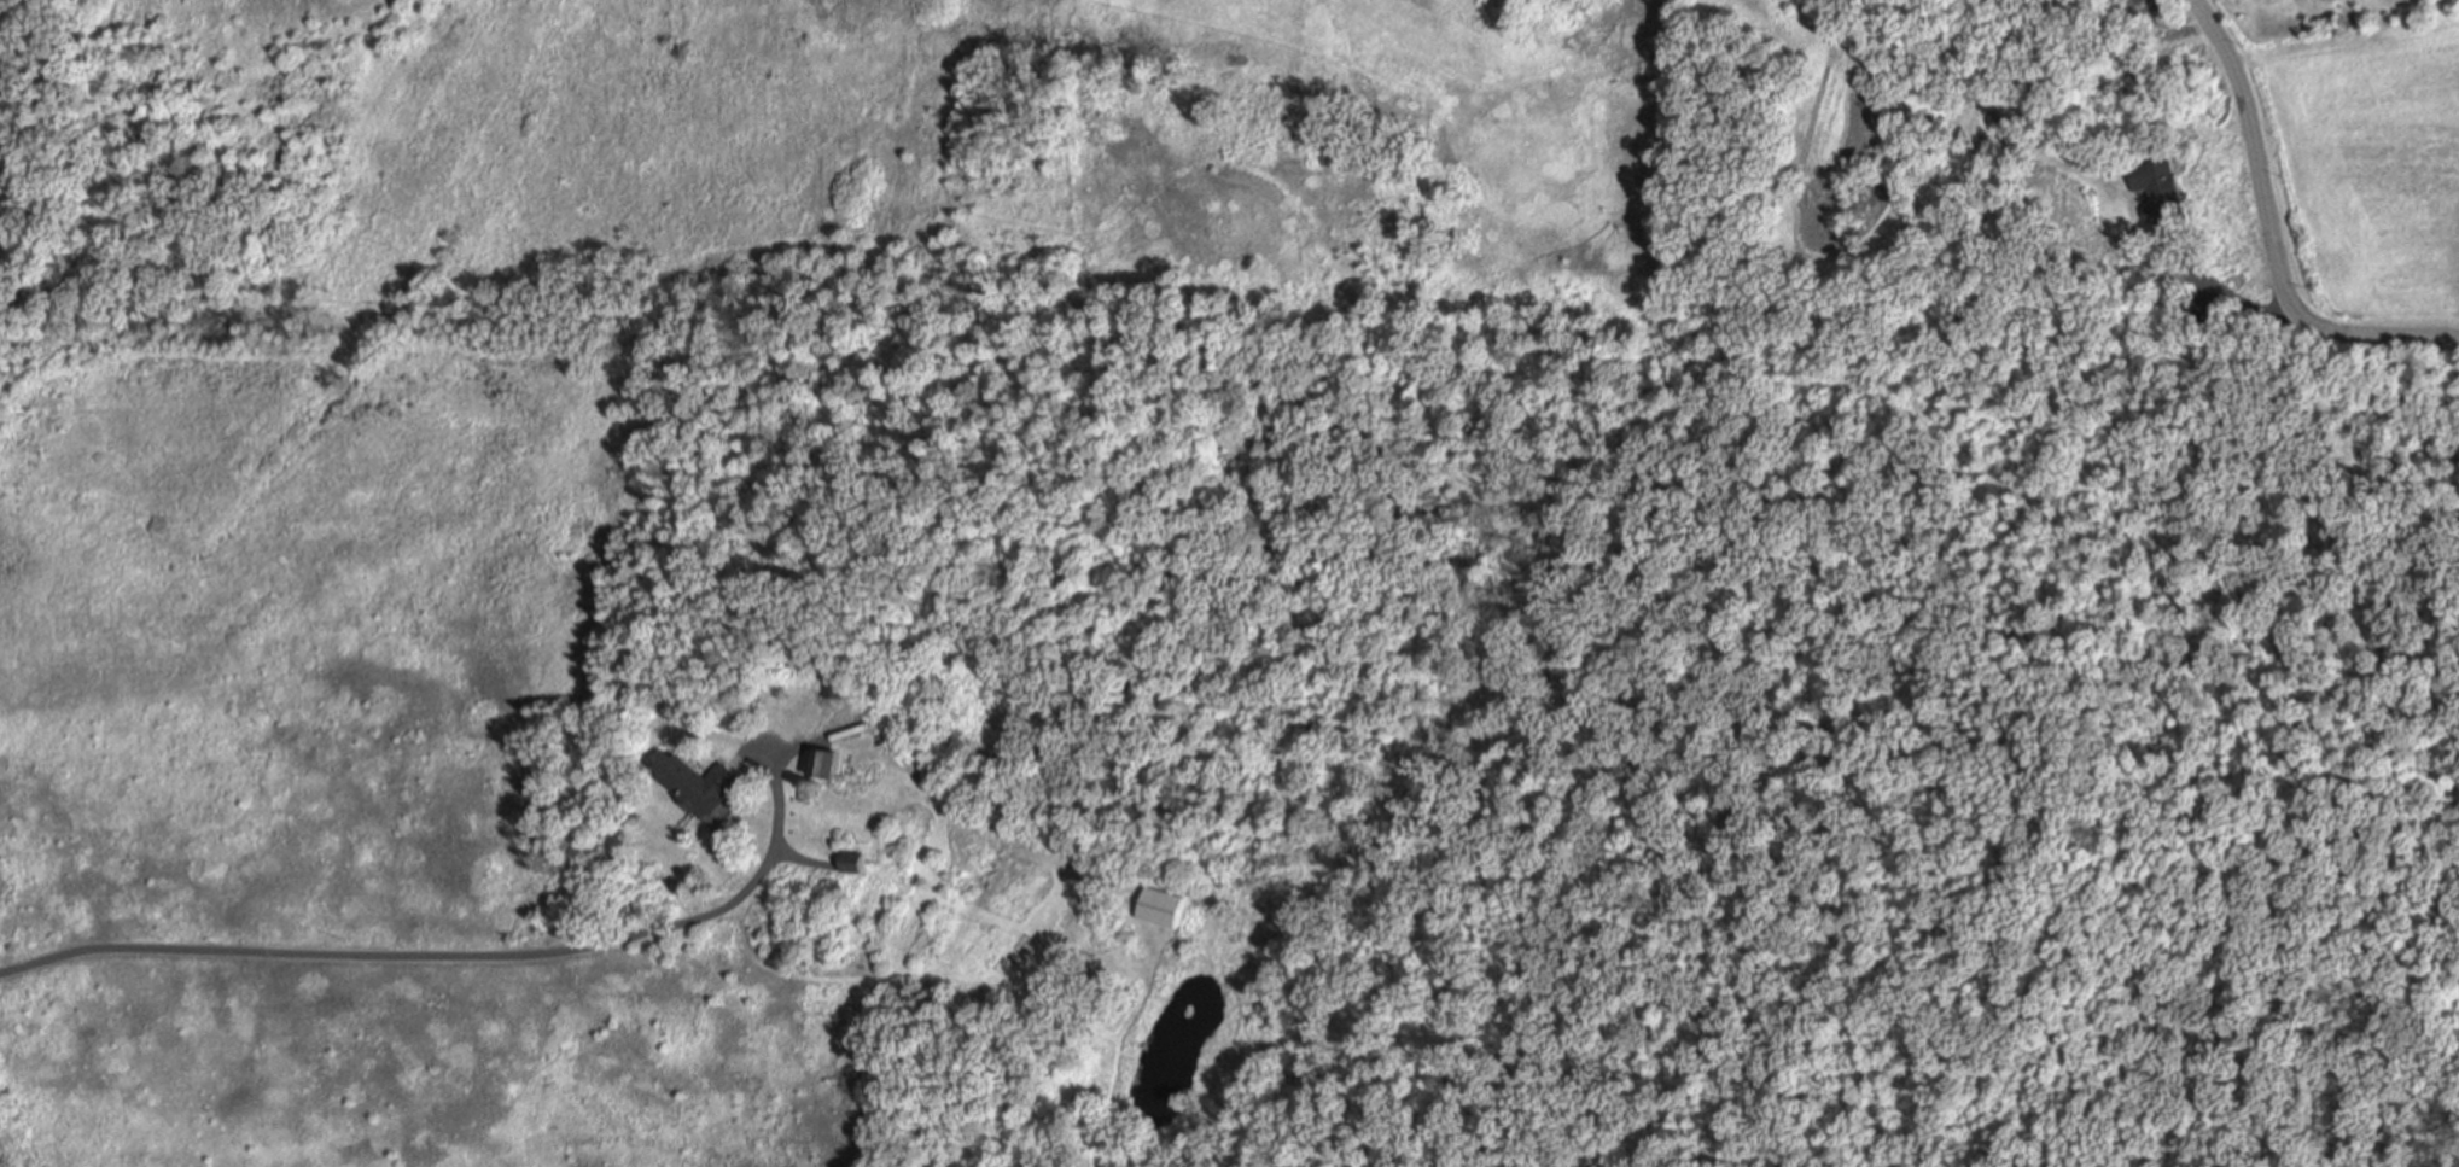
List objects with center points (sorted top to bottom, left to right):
road: (2256, 154)
building: (2158, 191)
road: (2227, 296)
building: (2199, 308)
road: (2377, 334)
building: (1305, 577)
building: (835, 685)
building: (827, 764)
building: (703, 789)
road: (803, 860)
building: (853, 863)
building: (1159, 908)
road: (473, 957)
building: (1083, 962)

